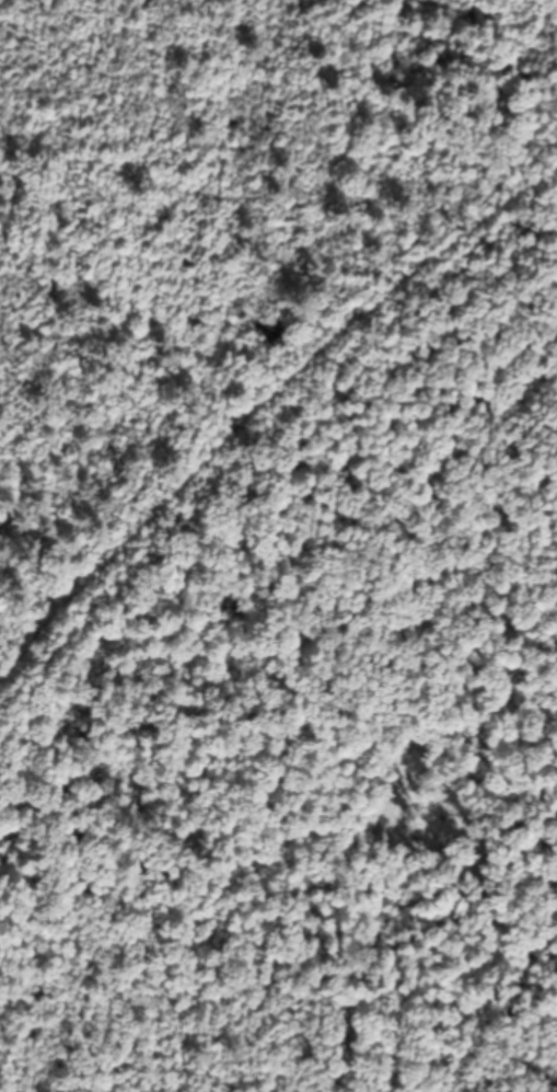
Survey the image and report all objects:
road: (265, 406)

